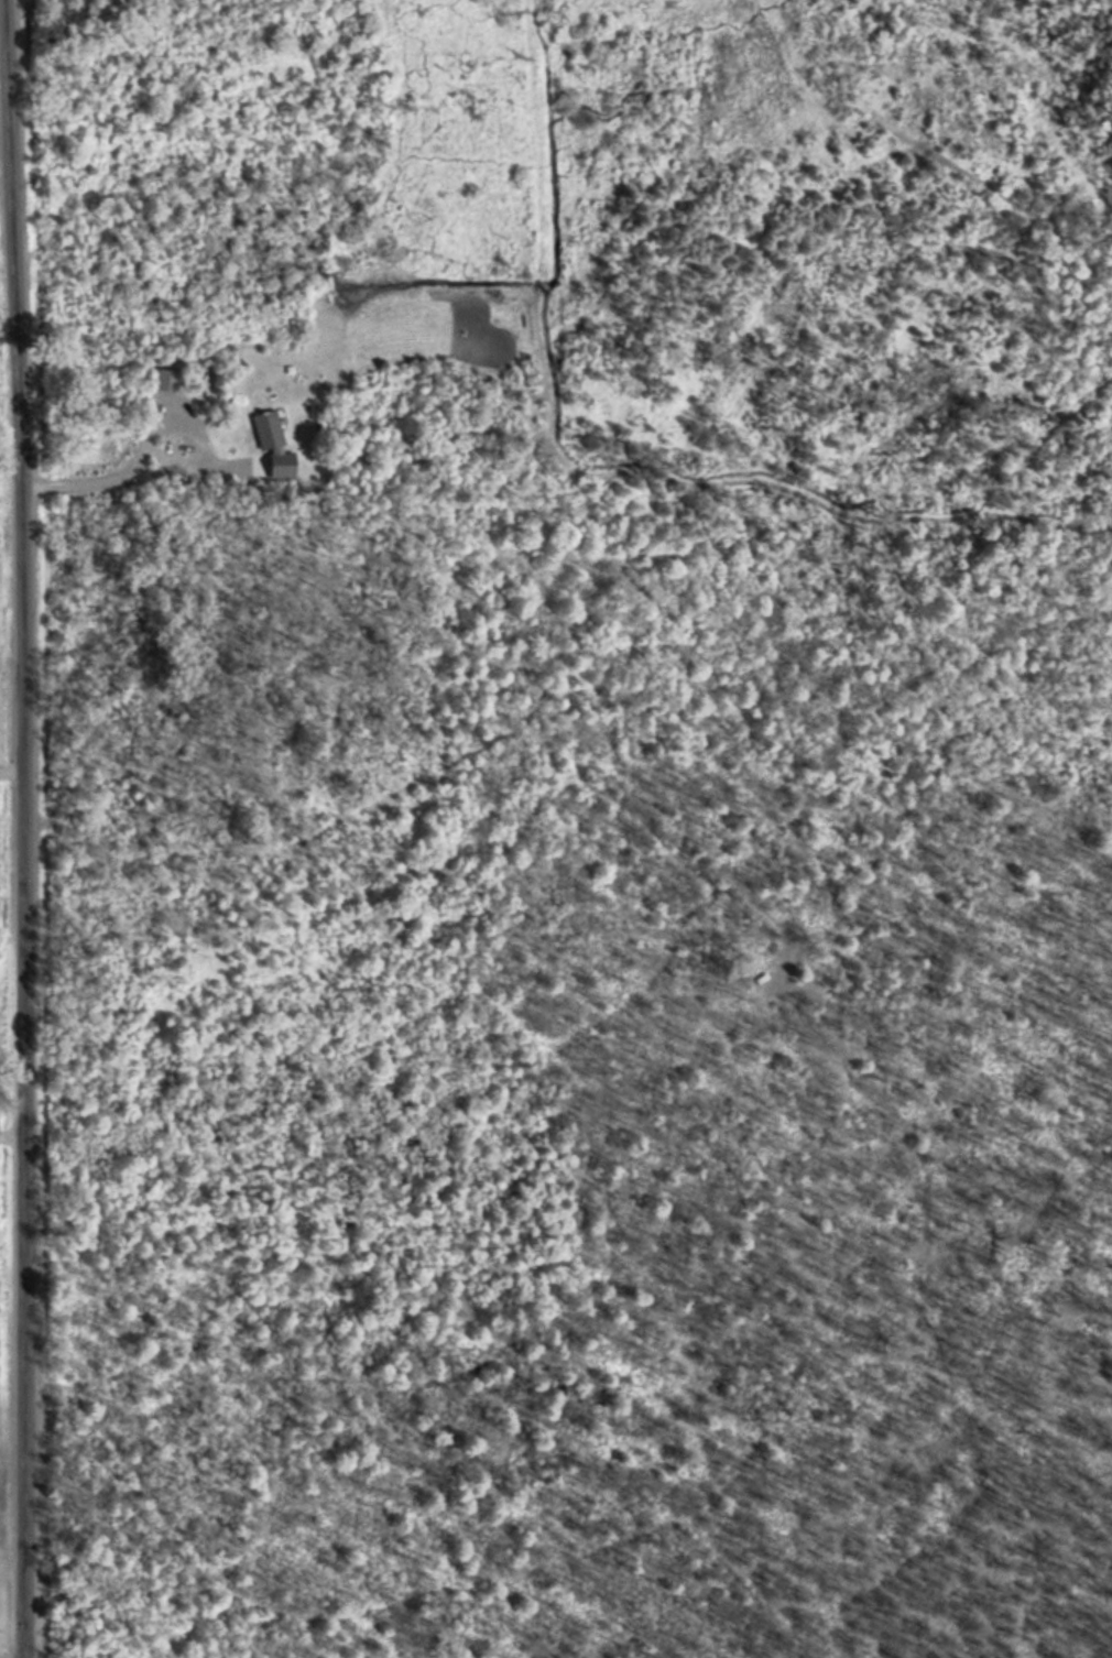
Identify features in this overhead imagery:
building: (166, 378)
road: (161, 425)
road: (12, 770)
road: (25, 828)
road: (12, 1133)
road: (589, 1546)
road: (804, 1592)

